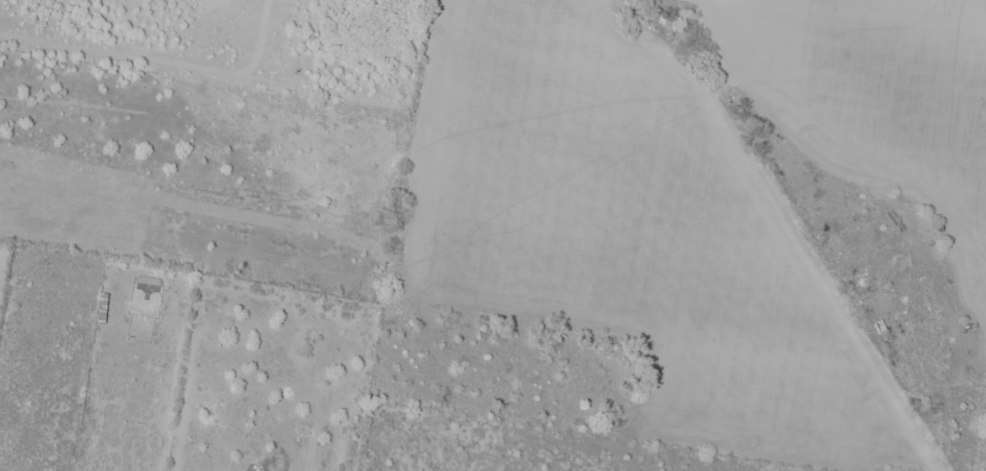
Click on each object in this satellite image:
building: (146, 296)

